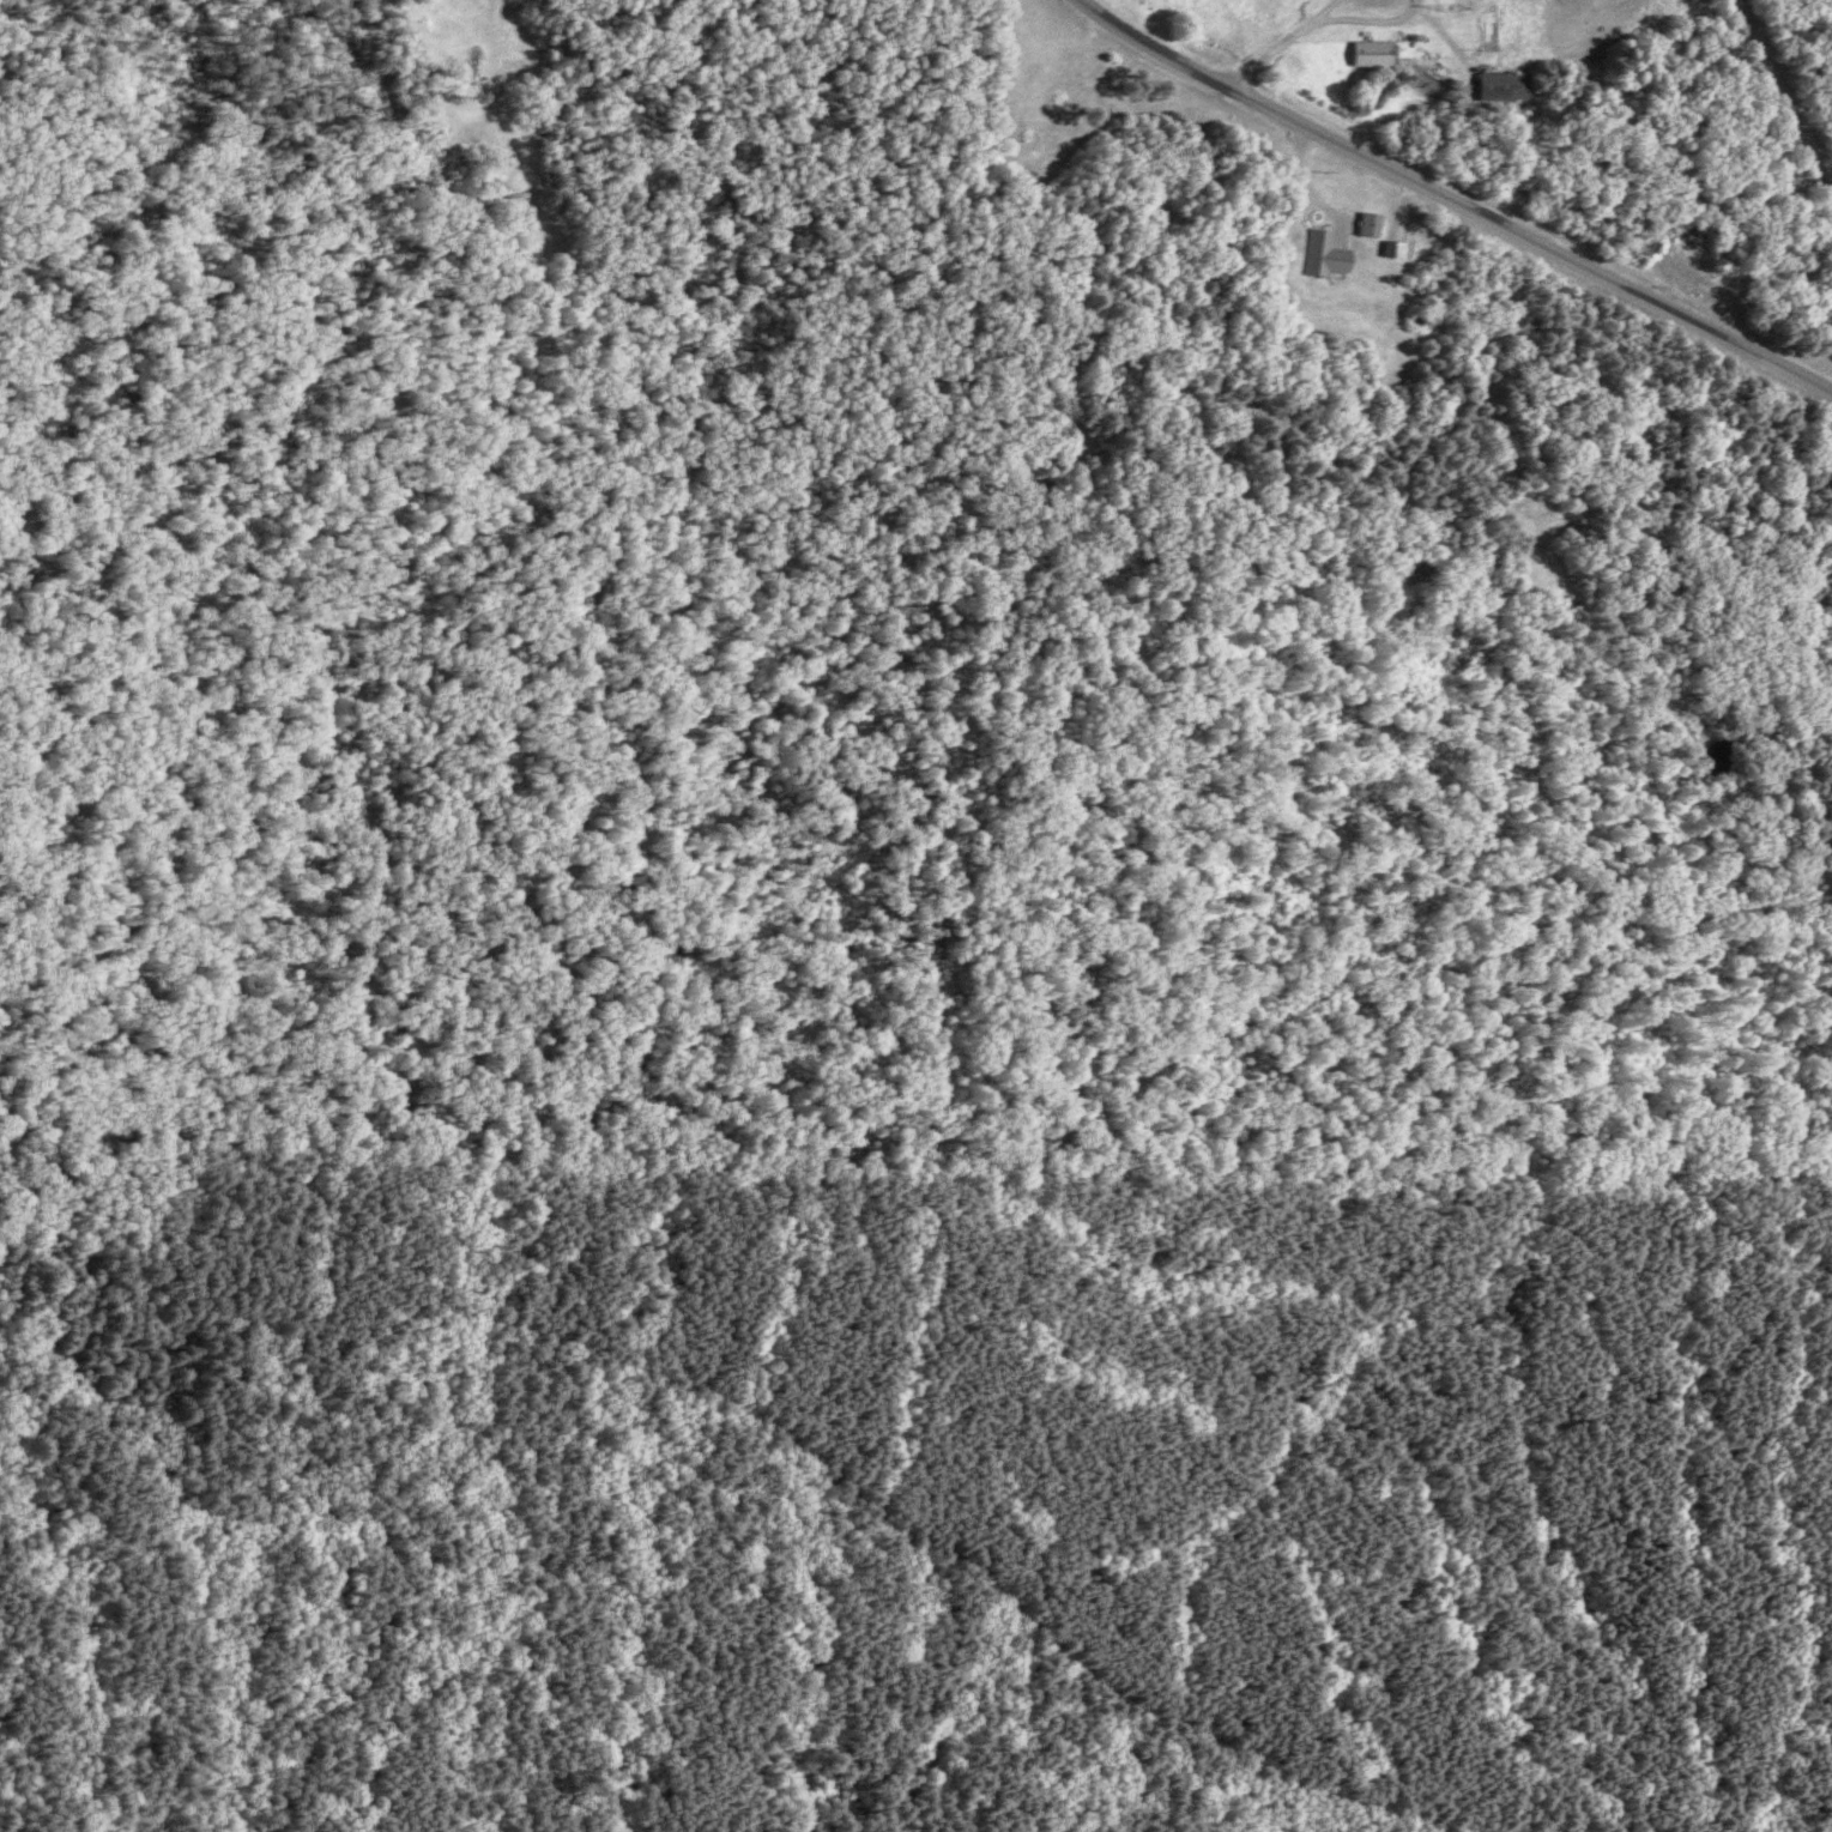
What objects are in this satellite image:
building: (1378, 53)
building: (1510, 85)
road: (1301, 186)
road: (1453, 198)
building: (1330, 254)
road: (846, 1475)

